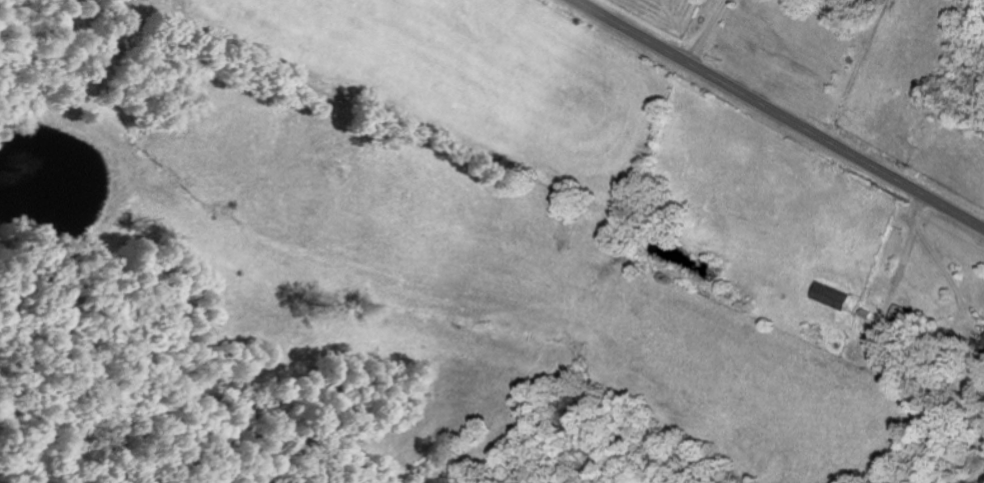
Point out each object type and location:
road: (660, 20)
road: (779, 114)
building: (832, 296)

